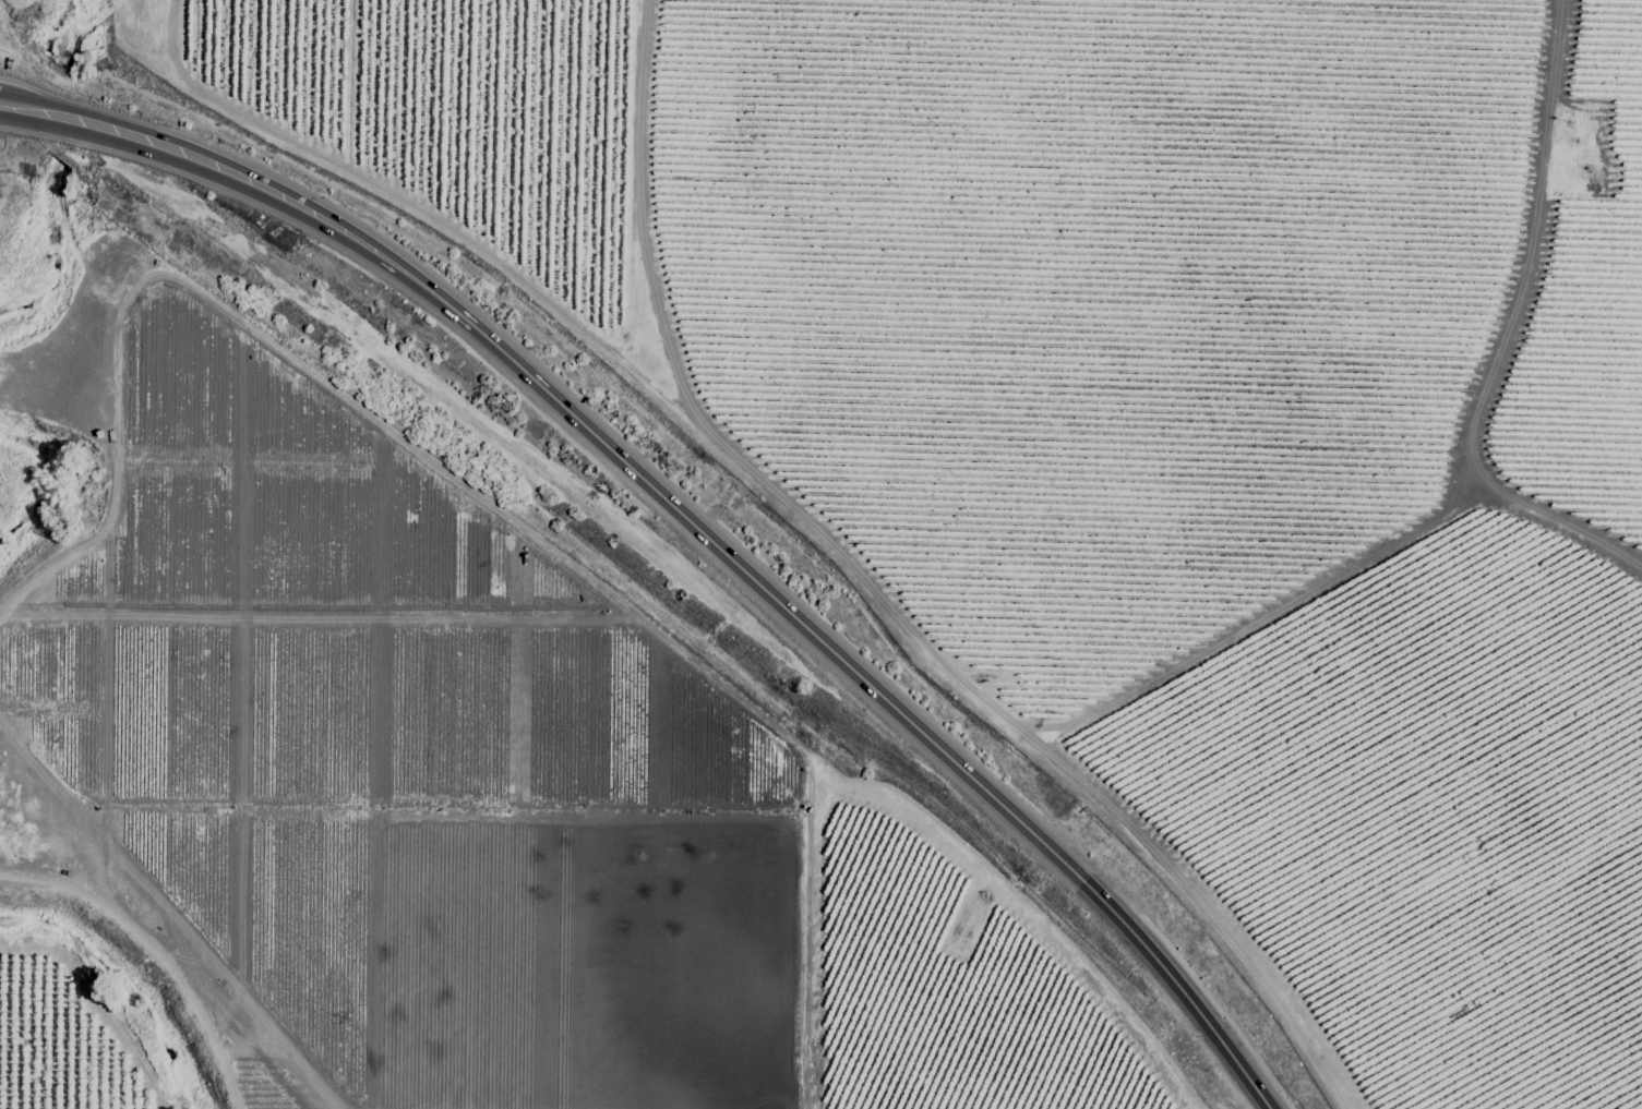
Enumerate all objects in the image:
road: (19, 106)
road: (705, 537)
crop: (820, 554)

